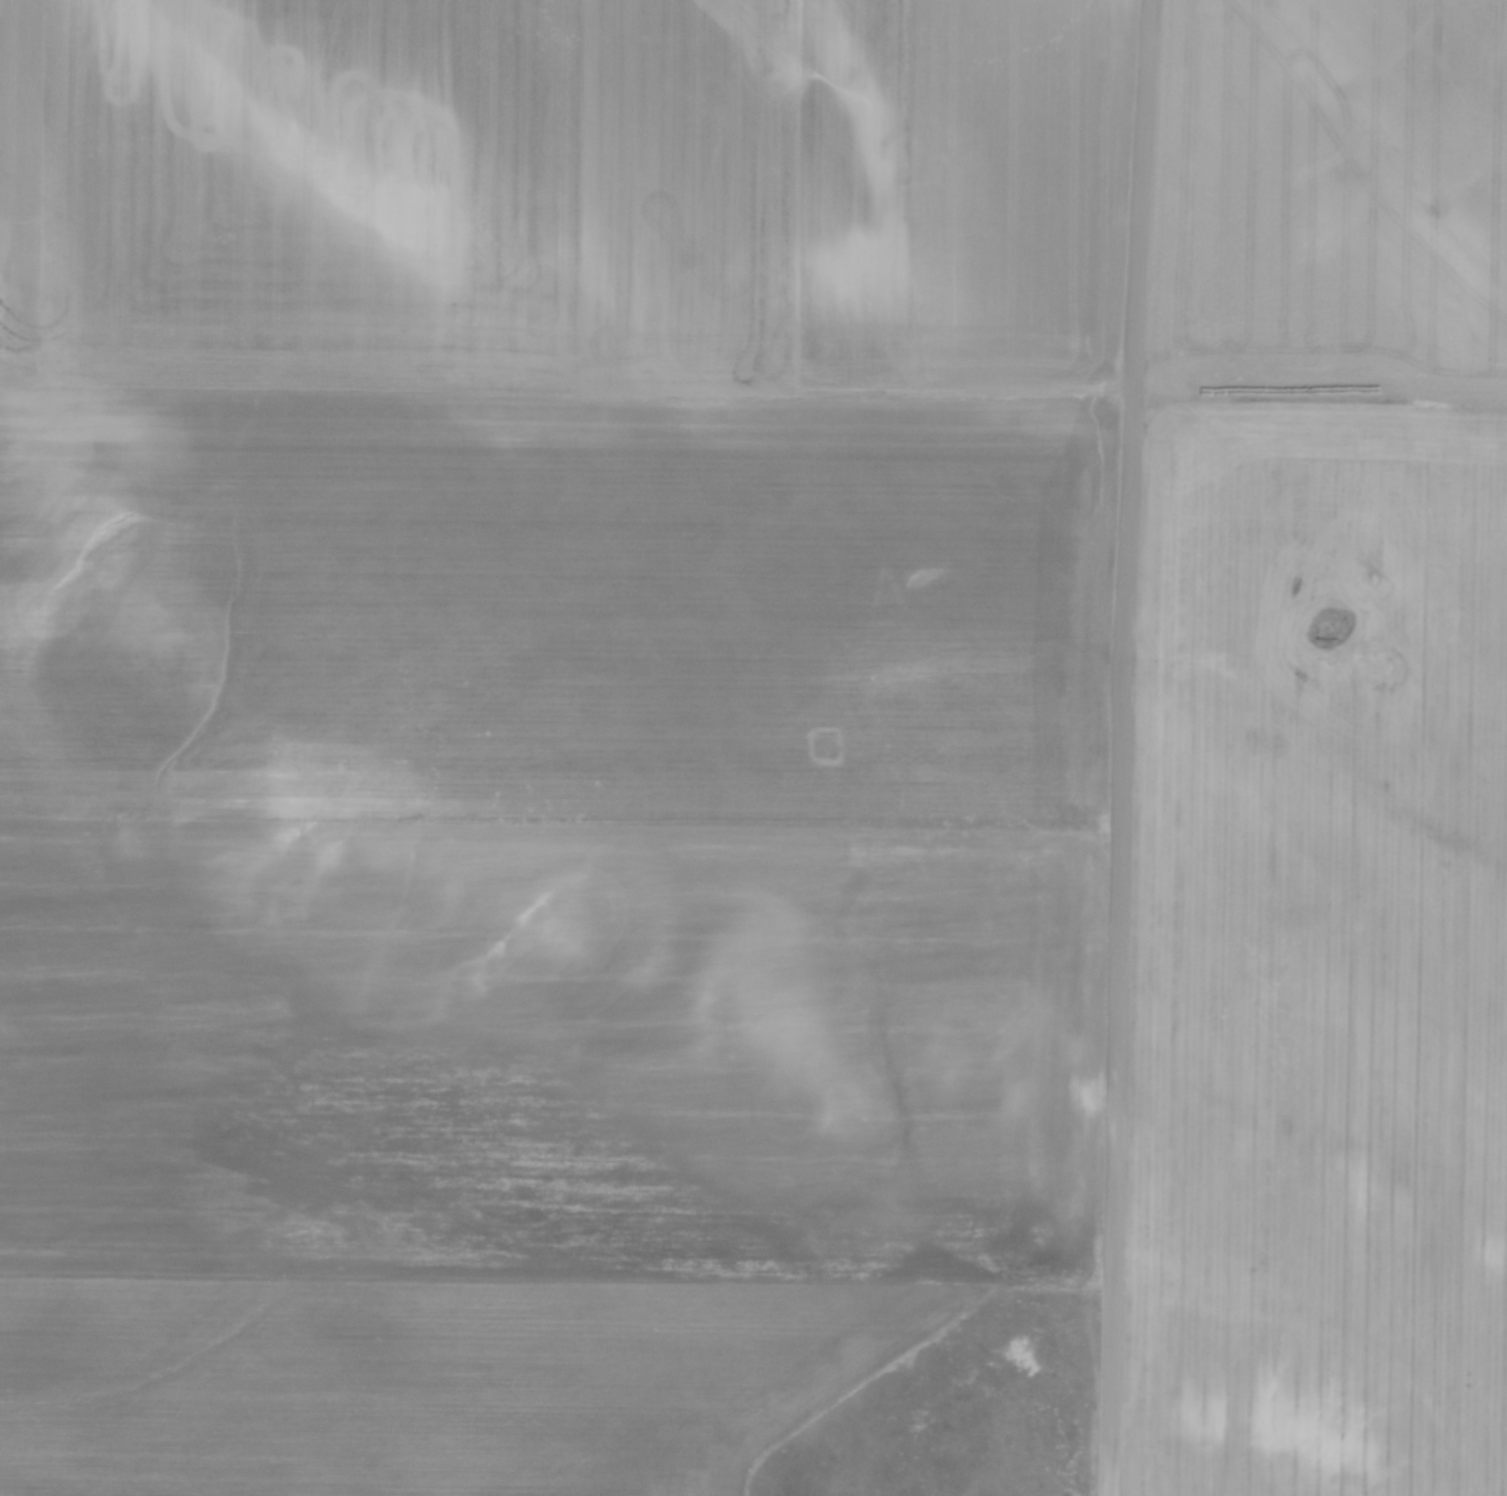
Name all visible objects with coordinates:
crop: (542, 720)
road: (1126, 747)
crop: (1326, 762)

